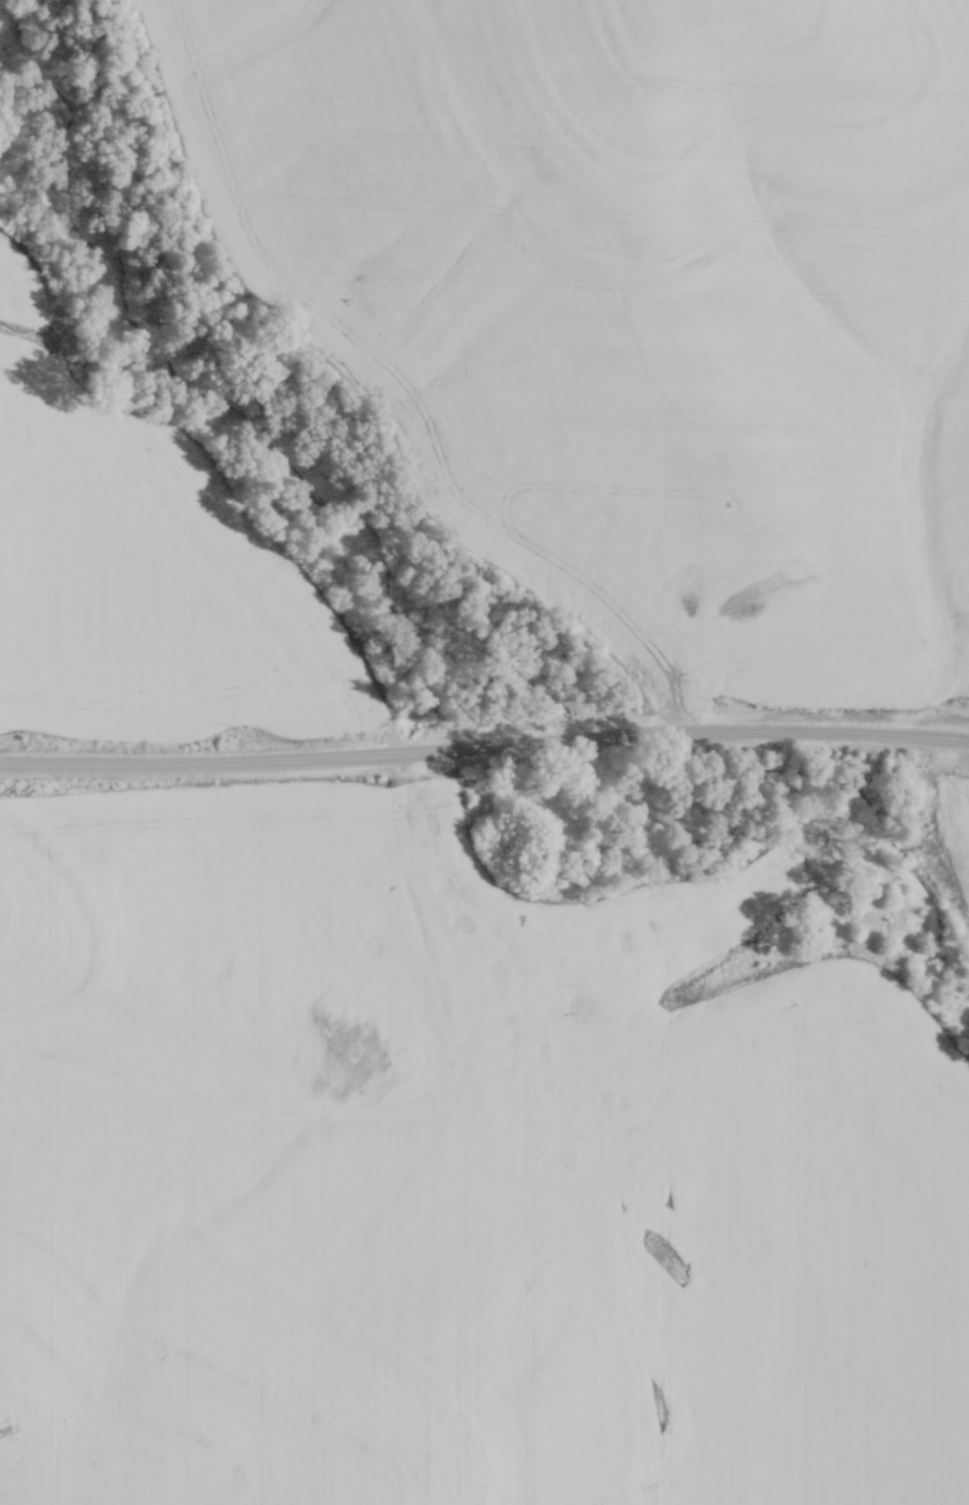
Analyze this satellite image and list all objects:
road: (484, 743)
road: (657, 805)

